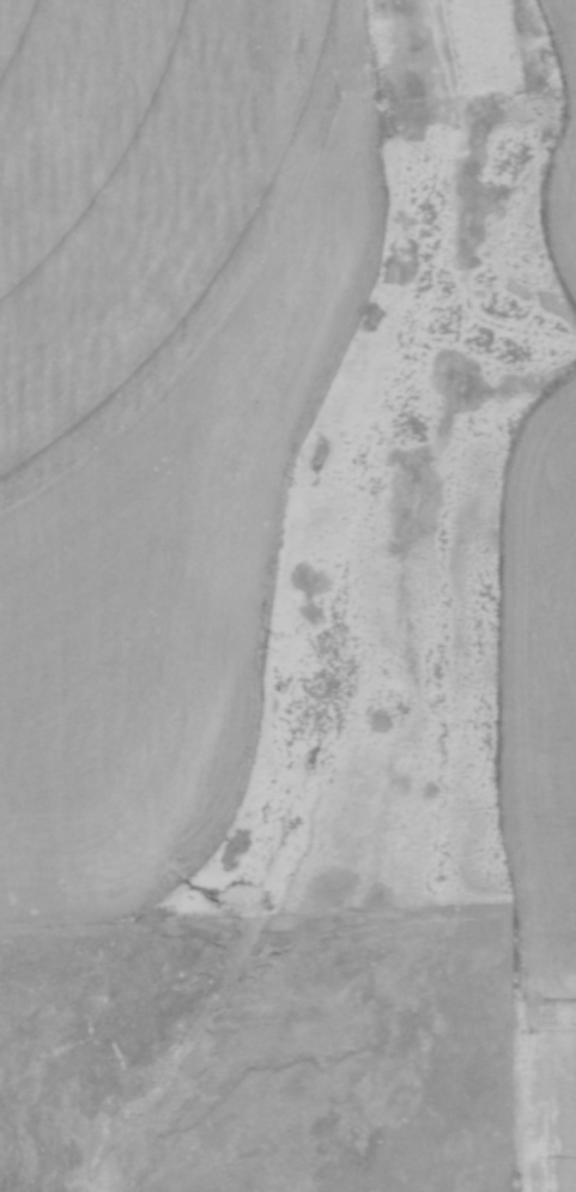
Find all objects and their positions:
crop: (138, 189)

